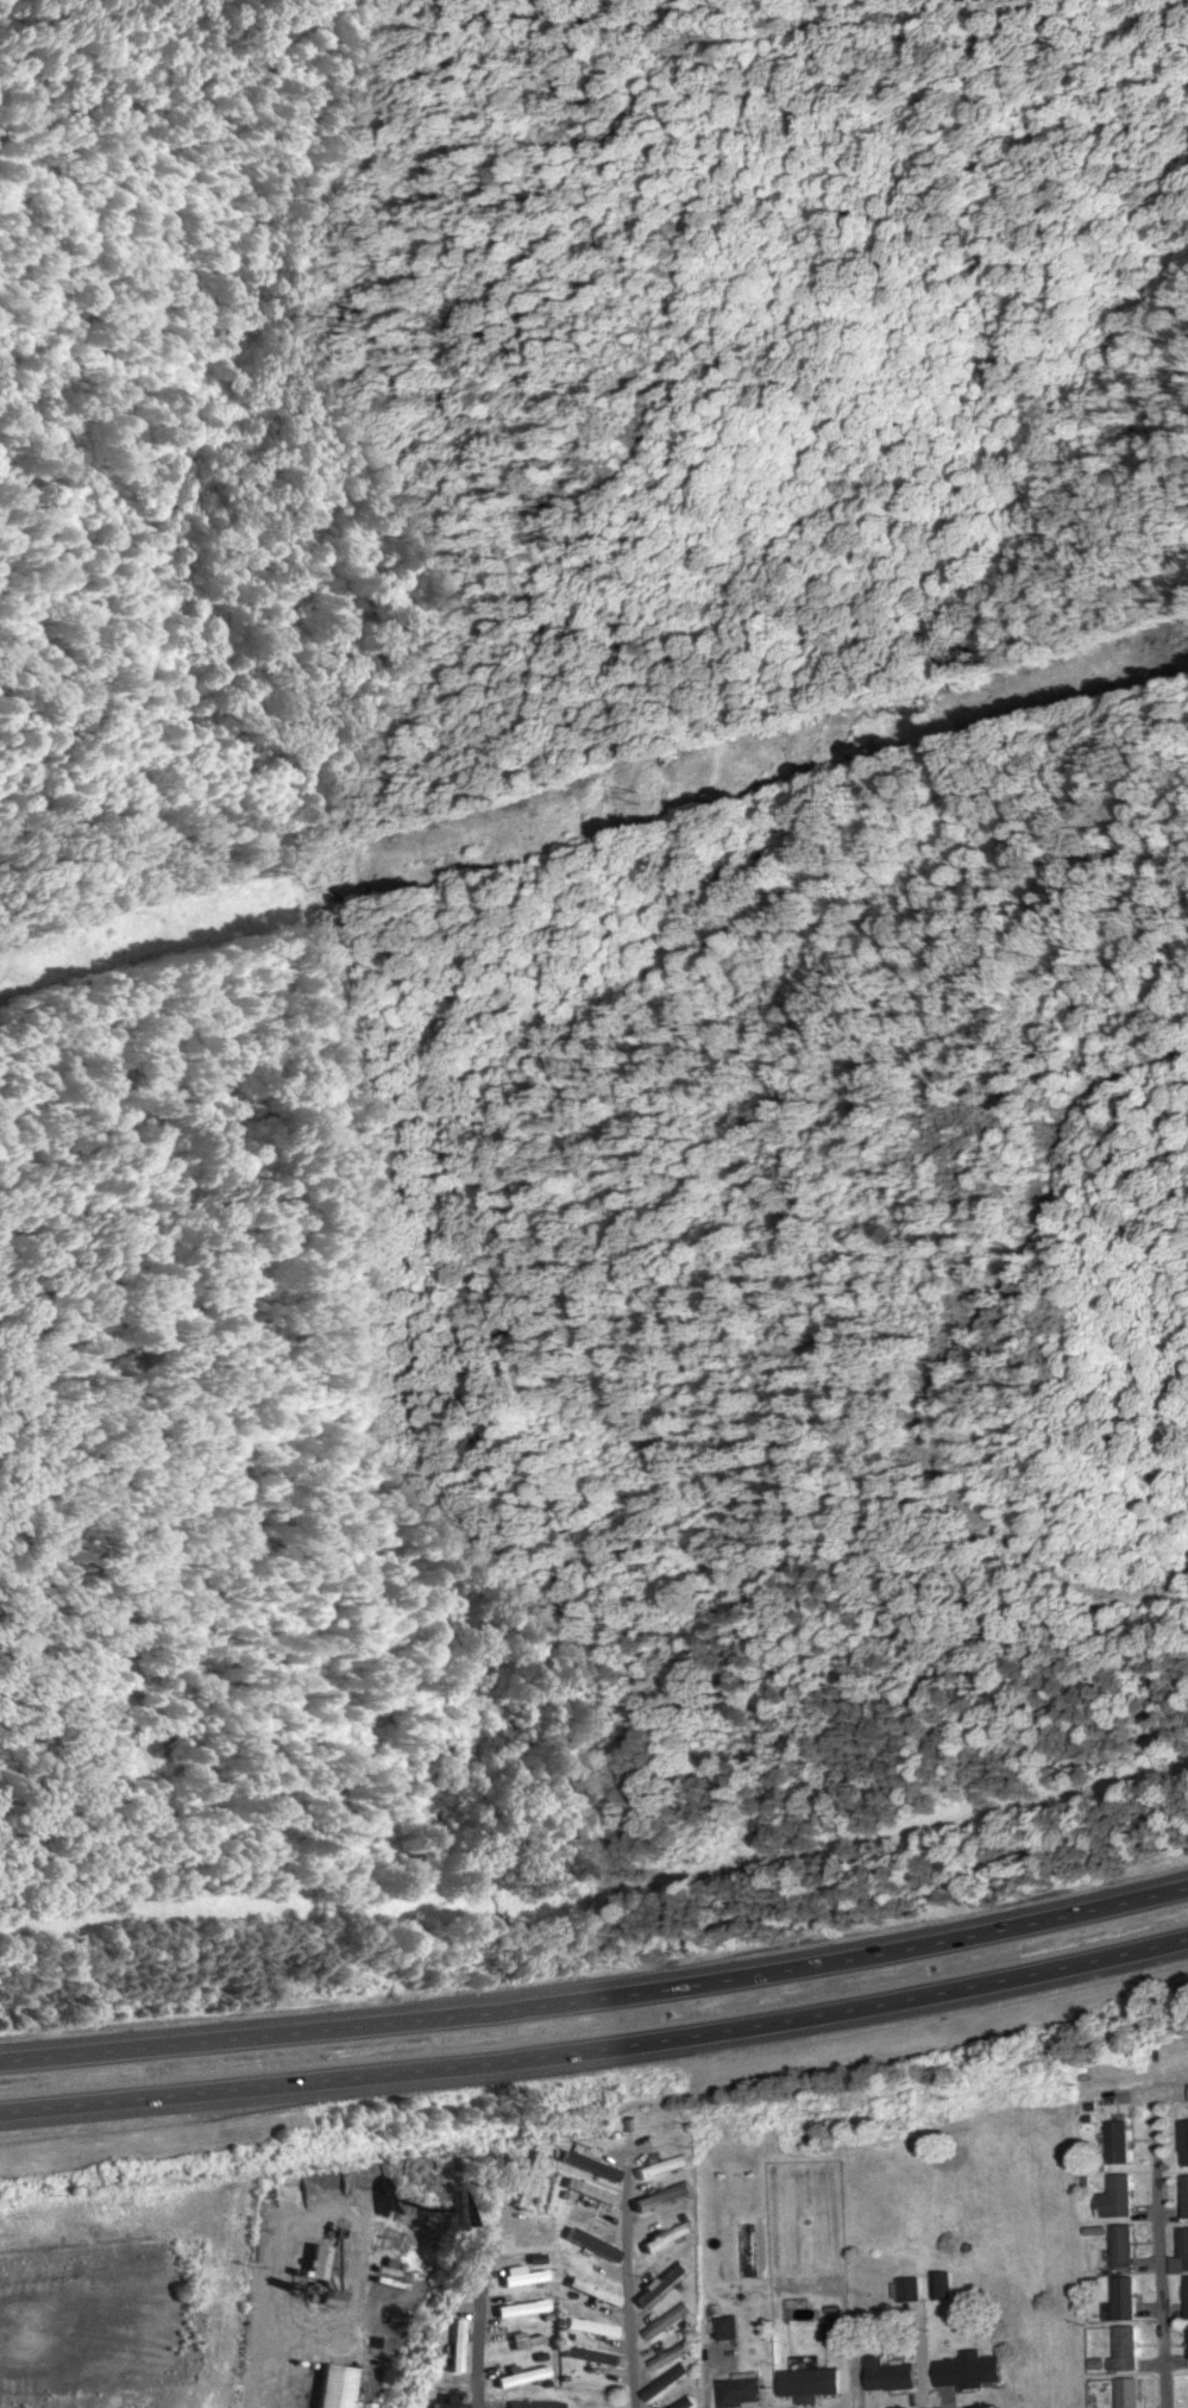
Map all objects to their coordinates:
road: (694, 39)
road: (182, 82)
road: (947, 1356)
road: (597, 1998)
road: (597, 2053)
building: (1119, 2143)
building: (1184, 2143)
building: (662, 2166)
building: (528, 2180)
building: (589, 2190)
building: (1186, 2196)
building: (1117, 2197)
building: (529, 2235)
building: (667, 2237)
building: (591, 2245)
building: (1123, 2245)
building: (1183, 2249)
road: (1156, 2252)
building: (316, 2264)
building: (522, 2276)
building: (662, 2283)
building: (942, 2285)
road: (631, 2287)
building: (910, 2289)
building: (592, 2291)
building: (1125, 2297)
building: (1187, 2297)
road: (480, 2306)
building: (523, 2307)
building: (667, 2320)
building: (590, 2327)
building: (722, 2327)
building: (526, 2340)
building: (457, 2345)
building: (1126, 2349)
building: (587, 2354)
building: (672, 2354)
building: (969, 2371)
building: (891, 2375)
building: (522, 2376)
building: (666, 2382)
building: (334, 2387)
building: (741, 2393)
building: (1129, 2393)
building: (685, 2402)
building: (545, 2403)
building: (448, 2406)

